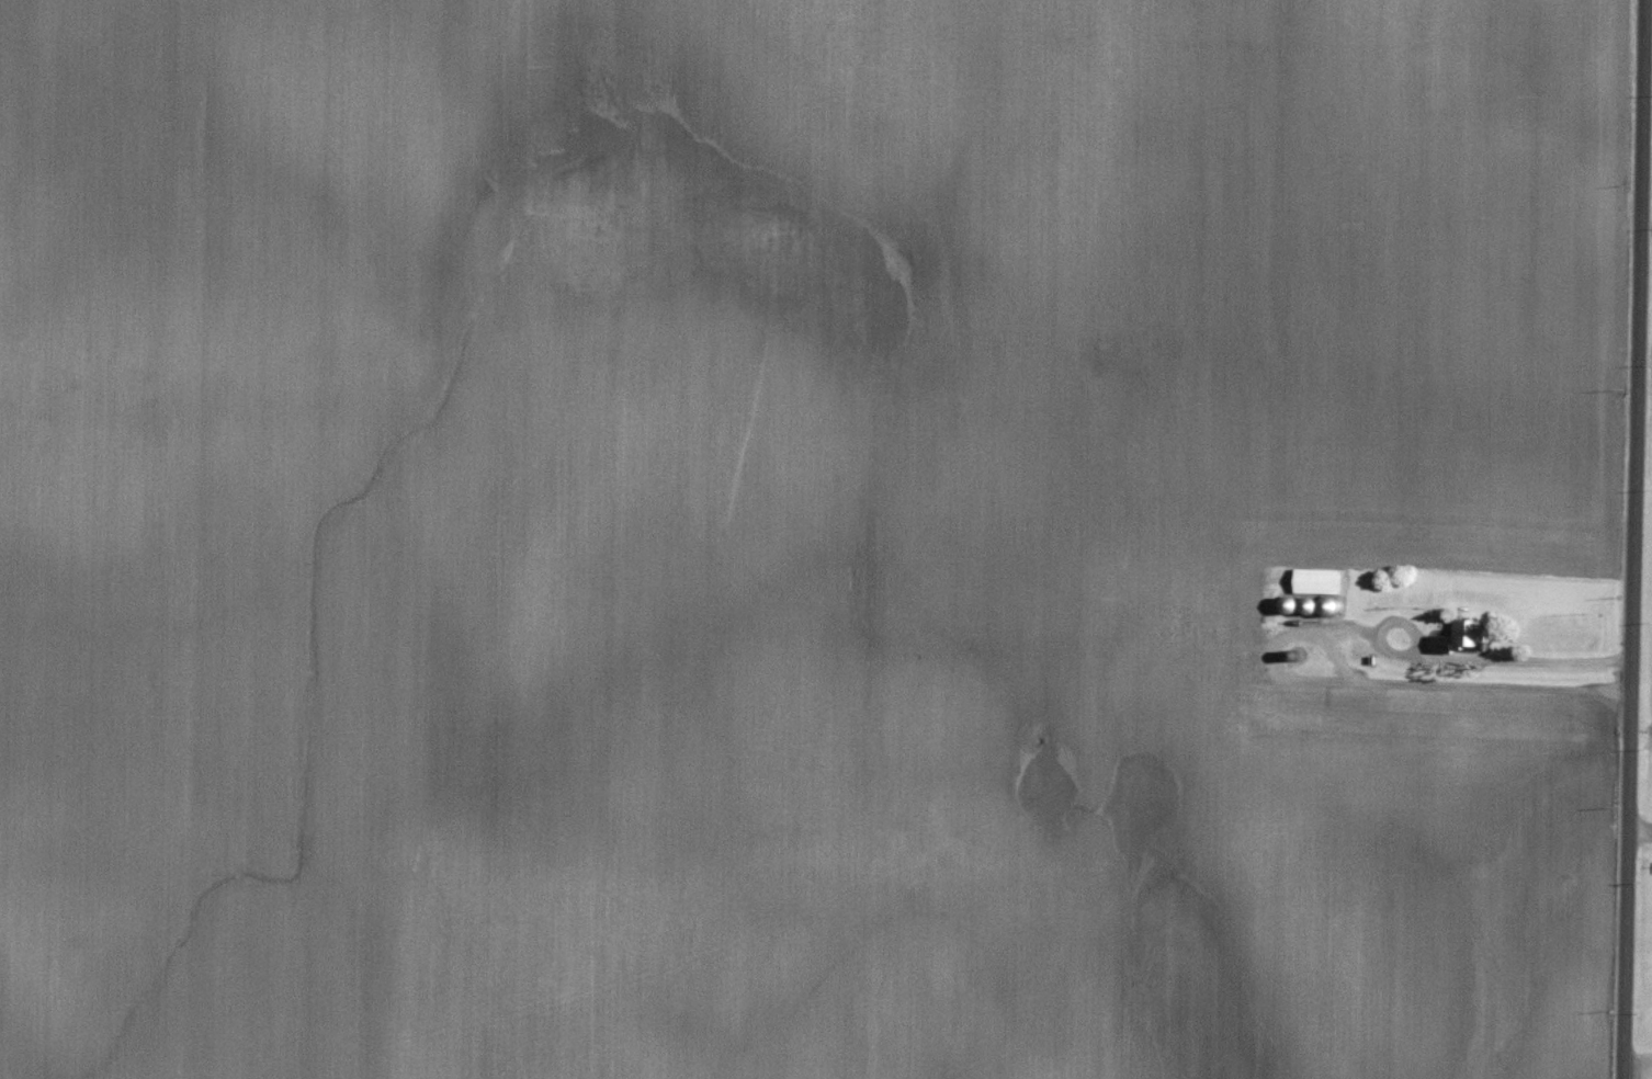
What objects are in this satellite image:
road: (1634, 538)
building: (1320, 575)
building: (1471, 628)
road: (1551, 656)
road: (1417, 681)

